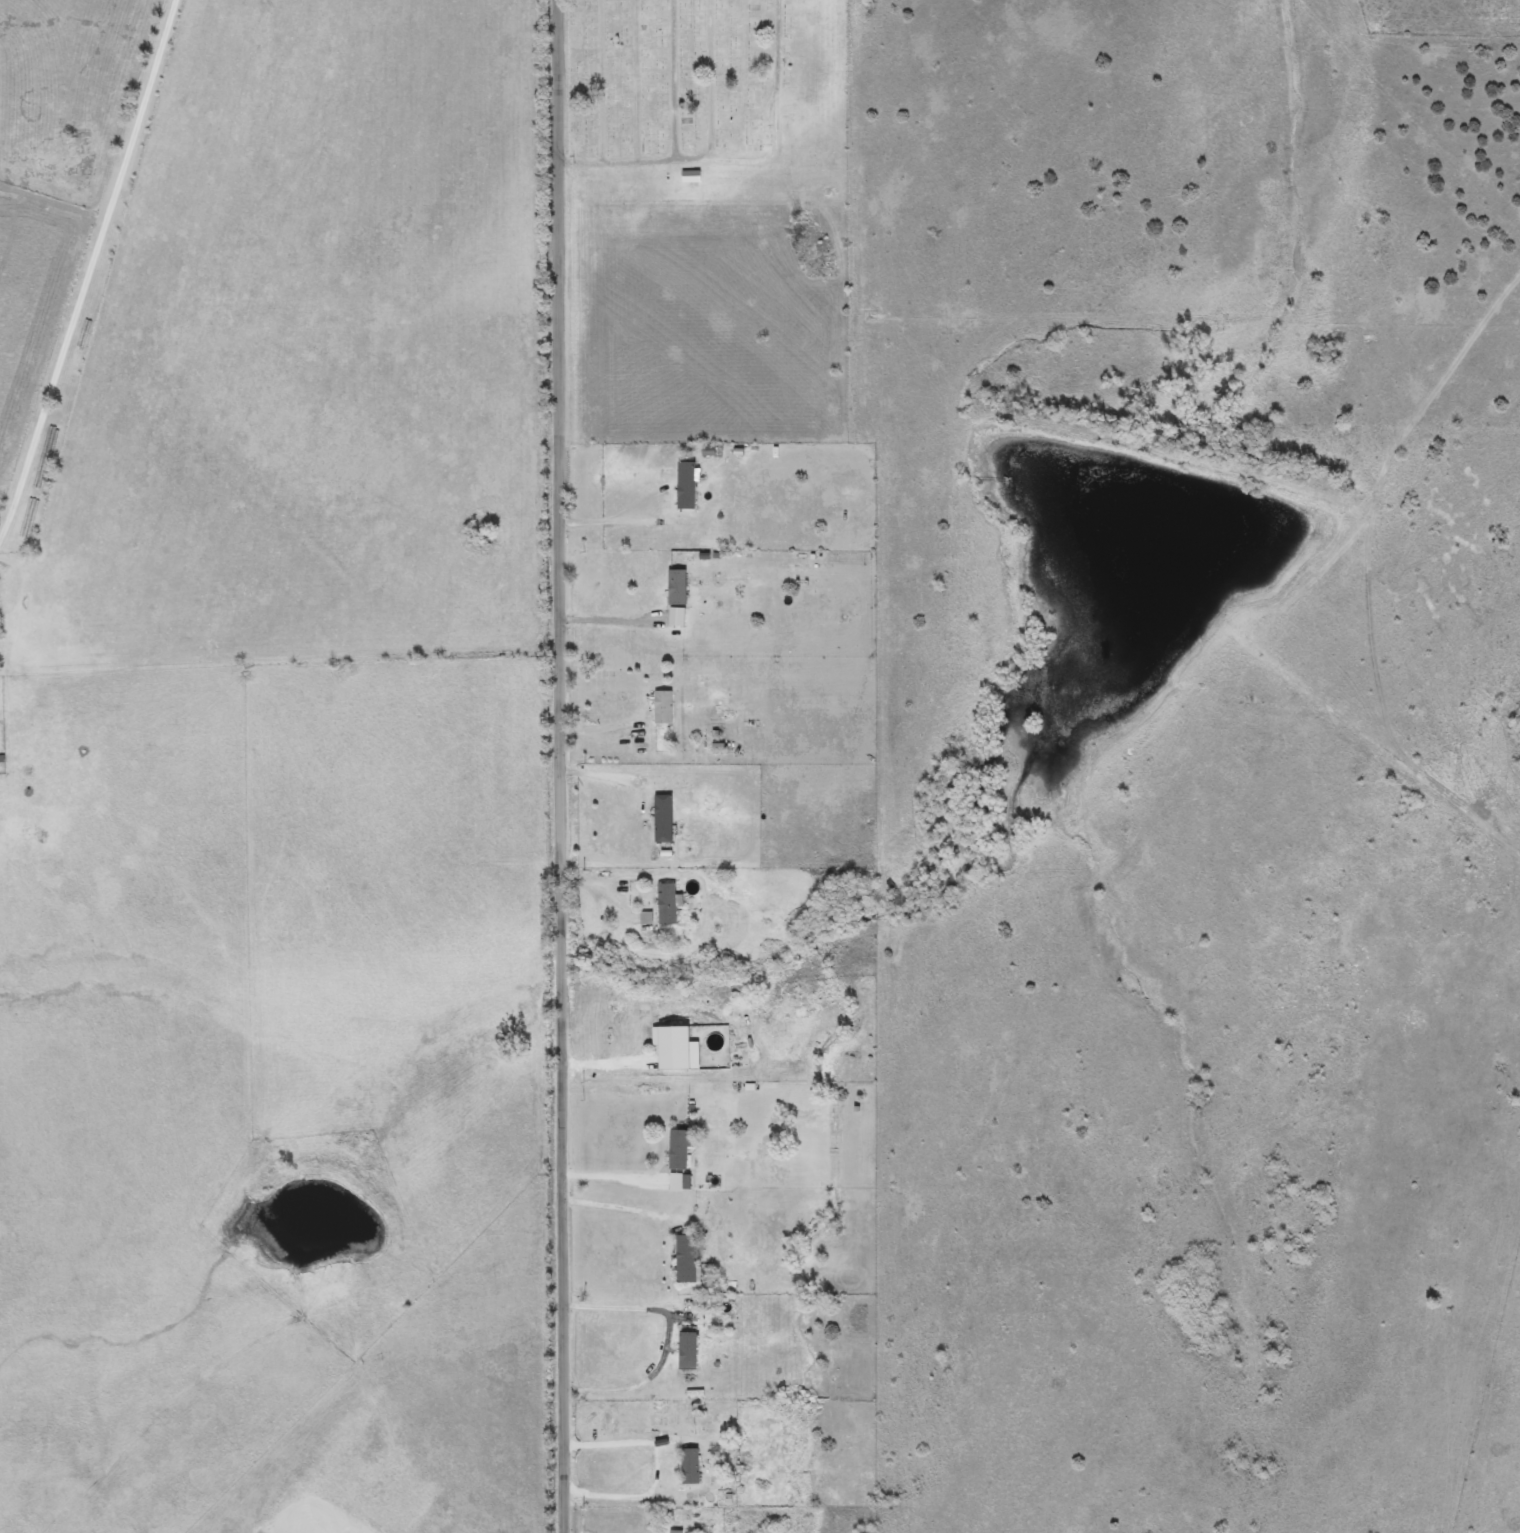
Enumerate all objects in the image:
park: (706, 85)
building: (687, 177)
road: (87, 267)
building: (682, 487)
road: (610, 525)
building: (673, 589)
road: (607, 621)
building: (660, 708)
road: (560, 766)
road: (601, 778)
building: (659, 820)
building: (663, 904)
building: (676, 1057)
building: (676, 1149)
road: (610, 1175)
road: (611, 1208)
building: (682, 1259)
building: (329, 1295)
road: (665, 1339)
building: (683, 1351)
road: (654, 1466)
building: (685, 1466)

